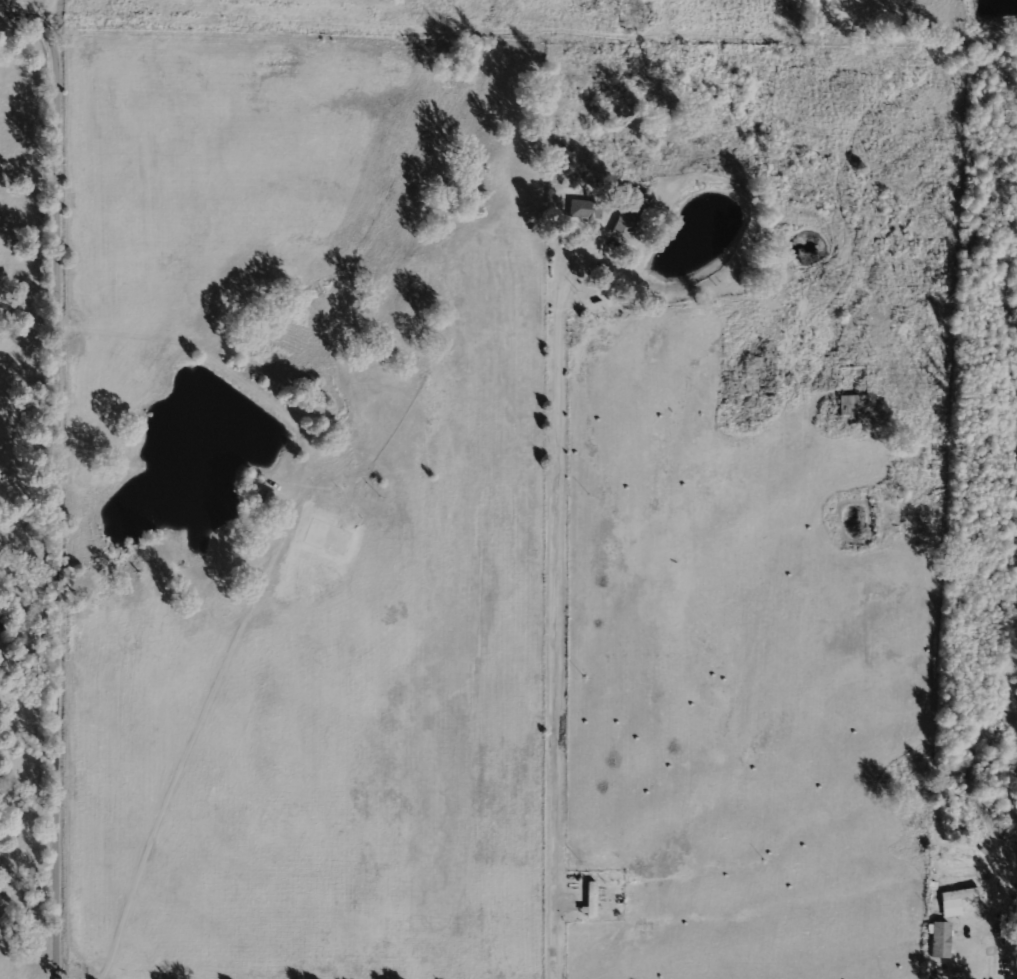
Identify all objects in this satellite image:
building: (585, 208)
building: (630, 214)
building: (846, 404)
road: (63, 473)
road: (561, 635)
building: (954, 900)
building: (937, 939)

